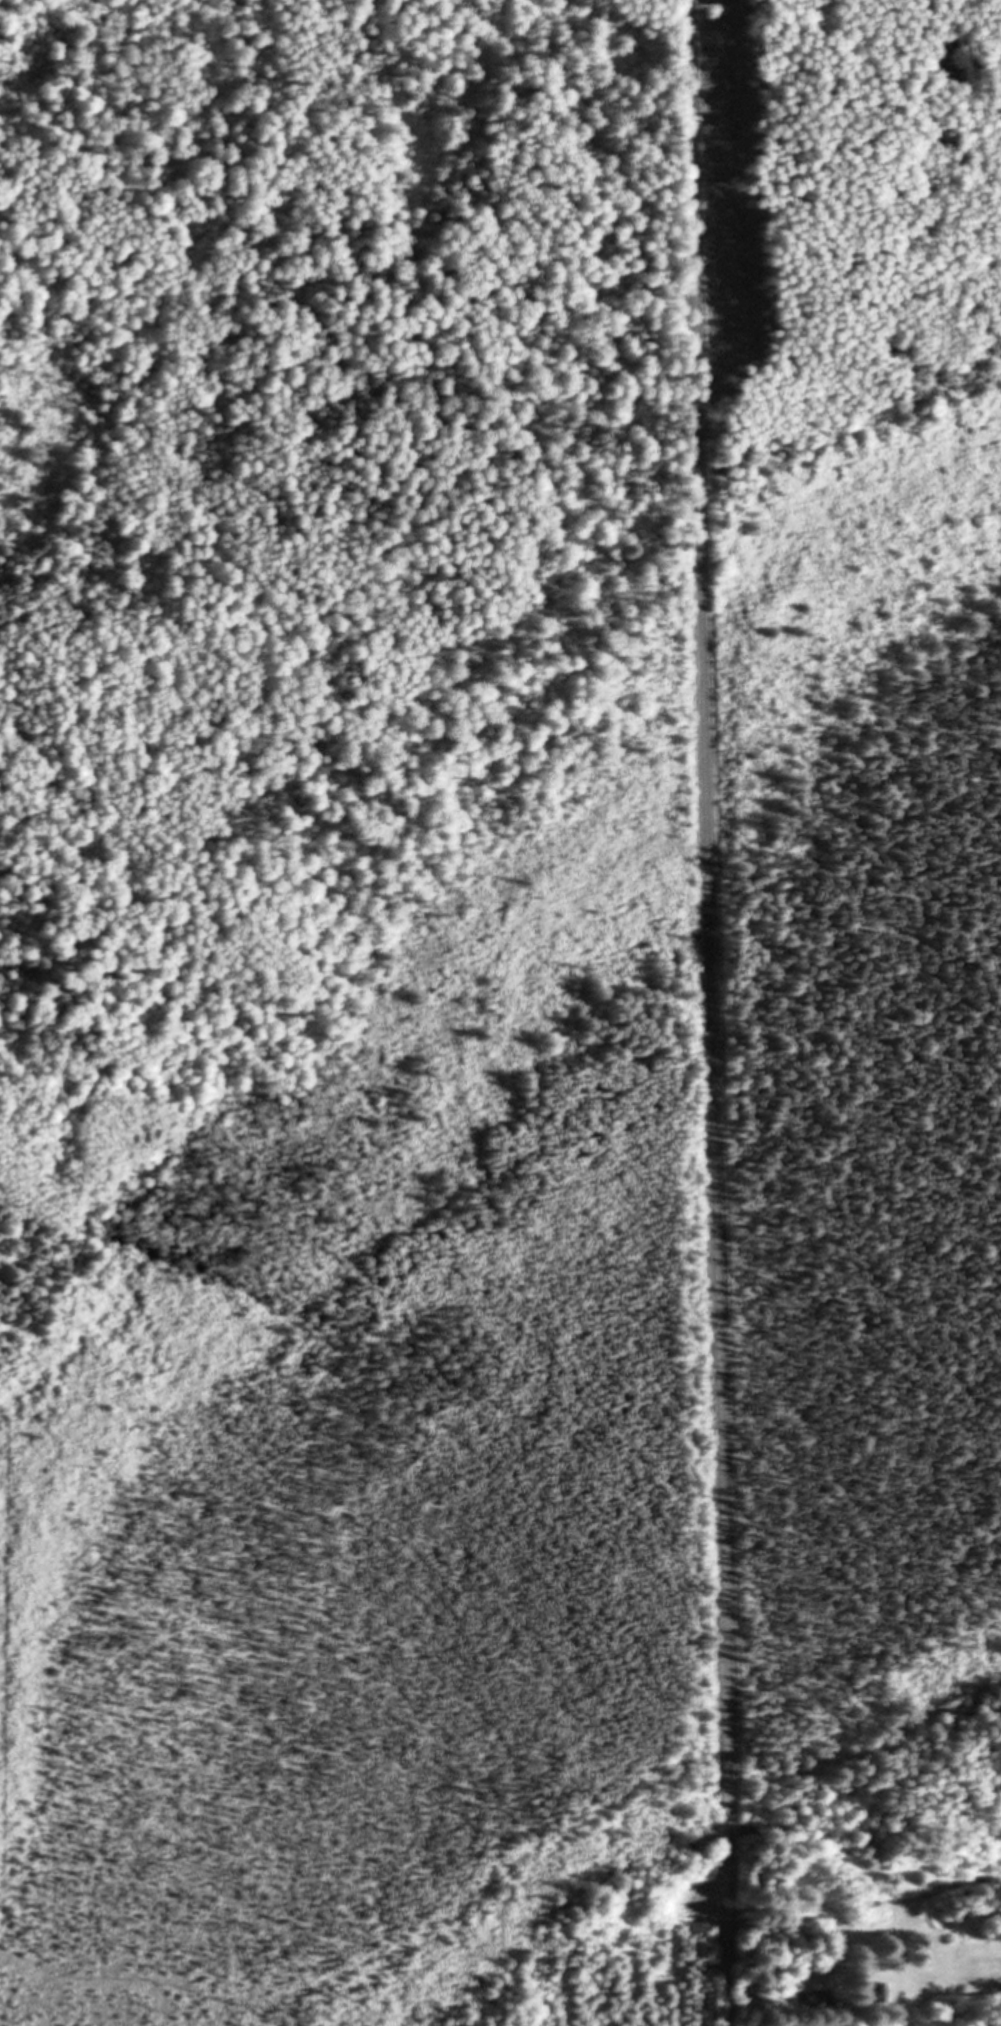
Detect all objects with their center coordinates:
road: (714, 1012)
building: (875, 1990)

